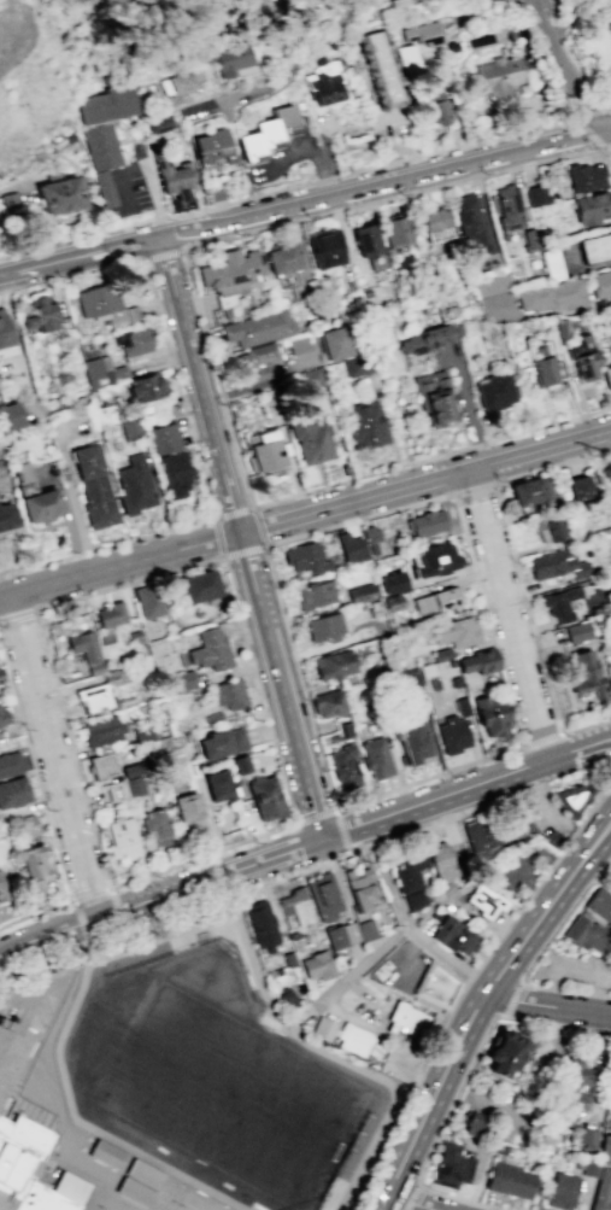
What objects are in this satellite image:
road: (529, 0)
road: (531, 0)
building: (610, 18)
building: (500, 31)
building: (424, 34)
building: (229, 57)
building: (409, 60)
road: (563, 68)
building: (382, 69)
building: (499, 76)
road: (287, 77)
building: (182, 82)
building: (324, 82)
building: (110, 104)
road: (609, 106)
building: (435, 107)
road: (575, 121)
building: (160, 123)
building: (268, 136)
building: (102, 145)
building: (212, 147)
road: (302, 147)
road: (453, 147)
road: (470, 159)
road: (119, 174)
road: (482, 174)
building: (174, 177)
building: (586, 177)
road: (325, 179)
road: (23, 186)
building: (105, 187)
road: (387, 193)
building: (59, 194)
building: (536, 194)
road: (241, 198)
building: (10, 199)
road: (155, 201)
building: (509, 206)
building: (592, 209)
road: (336, 210)
road: (245, 214)
road: (160, 217)
building: (435, 220)
building: (475, 222)
building: (395, 229)
road: (75, 238)
road: (342, 238)
building: (364, 240)
building: (529, 240)
building: (323, 246)
road: (182, 247)
road: (177, 249)
building: (597, 250)
road: (80, 257)
road: (353, 261)
building: (281, 262)
building: (552, 264)
building: (230, 269)
parking lot: (490, 281)
building: (603, 285)
building: (552, 294)
building: (106, 306)
road: (545, 312)
building: (40, 316)
building: (258, 328)
building: (5, 337)
building: (425, 339)
building: (134, 341)
road: (17, 344)
building: (299, 344)
building: (334, 344)
building: (582, 356)
building: (259, 363)
building: (357, 364)
building: (541, 364)
building: (95, 374)
building: (606, 376)
building: (309, 378)
road: (260, 384)
road: (198, 385)
building: (145, 387)
building: (494, 391)
building: (433, 394)
road: (221, 396)
building: (10, 417)
building: (365, 425)
building: (133, 429)
building: (165, 440)
building: (310, 443)
building: (264, 451)
building: (87, 462)
road: (380, 470)
building: (607, 470)
building: (174, 475)
road: (424, 485)
building: (135, 486)
road: (472, 487)
building: (577, 487)
building: (529, 490)
road: (206, 495)
building: (98, 502)
building: (605, 503)
building: (40, 507)
road: (233, 512)
building: (6, 518)
road: (354, 520)
building: (425, 522)
building: (552, 530)
building: (370, 533)
building: (349, 546)
road: (510, 549)
road: (242, 551)
building: (305, 559)
building: (433, 560)
building: (550, 563)
road: (118, 566)
building: (578, 569)
building: (392, 581)
road: (128, 583)
building: (199, 586)
building: (360, 594)
building: (313, 595)
building: (435, 600)
building: (558, 600)
building: (147, 601)
building: (392, 602)
building: (598, 606)
road: (16, 613)
building: (110, 614)
road: (511, 616)
building: (563, 616)
building: (323, 627)
building: (576, 631)
building: (456, 632)
building: (134, 637)
building: (82, 645)
building: (210, 649)
building: (439, 654)
building: (484, 660)
building: (465, 664)
building: (333, 665)
building: (584, 676)
building: (182, 679)
road: (281, 685)
building: (225, 694)
building: (93, 697)
building: (328, 703)
building: (460, 706)
building: (489, 714)
building: (2, 717)
road: (586, 724)
building: (343, 730)
building: (100, 731)
building: (141, 733)
building: (452, 736)
road: (541, 740)
building: (221, 742)
building: (411, 743)
road: (71, 750)
road: (55, 755)
road: (563, 756)
building: (375, 758)
building: (341, 760)
building: (8, 764)
building: (237, 764)
building: (100, 765)
building: (130, 770)
road: (35, 774)
road: (429, 778)
building: (217, 785)
building: (123, 788)
building: (12, 791)
building: (577, 796)
building: (265, 797)
road: (499, 802)
road: (419, 807)
building: (187, 808)
road: (315, 816)
building: (30, 822)
building: (154, 826)
road: (341, 832)
building: (118, 837)
building: (482, 837)
road: (199, 855)
building: (35, 861)
building: (440, 861)
building: (515, 873)
road: (544, 876)
building: (409, 881)
building: (358, 887)
building: (2, 888)
road: (88, 894)
road: (160, 894)
building: (323, 896)
building: (484, 904)
building: (294, 905)
parking lot: (459, 906)
building: (598, 908)
road: (116, 910)
road: (193, 911)
road: (36, 912)
road: (563, 918)
road: (405, 923)
road: (77, 924)
building: (259, 924)
building: (365, 929)
road: (123, 931)
building: (584, 933)
building: (340, 934)
building: (460, 940)
road: (306, 942)
road: (82, 946)
road: (370, 963)
parking lot: (572, 964)
building: (316, 965)
road: (471, 977)
building: (436, 987)
road: (565, 989)
road: (457, 999)
road: (513, 999)
road: (548, 1004)
road: (478, 1006)
building: (409, 1021)
road: (558, 1023)
building: (341, 1035)
building: (11, 1046)
building: (505, 1057)
building: (576, 1072)
track: (213, 1074)
park: (221, 1081)
park: (230, 1097)
building: (578, 1100)
road: (400, 1112)
building: (560, 1115)
building: (472, 1124)
road: (440, 1132)
building: (582, 1138)
building: (604, 1147)
building: (450, 1164)
building: (589, 1168)
building: (30, 1170)
building: (127, 1174)
building: (510, 1179)
building: (560, 1191)
building: (601, 1191)
park: (168, 1194)
road: (412, 1196)
park: (199, 1203)
park: (116, 1204)
road: (407, 1205)

